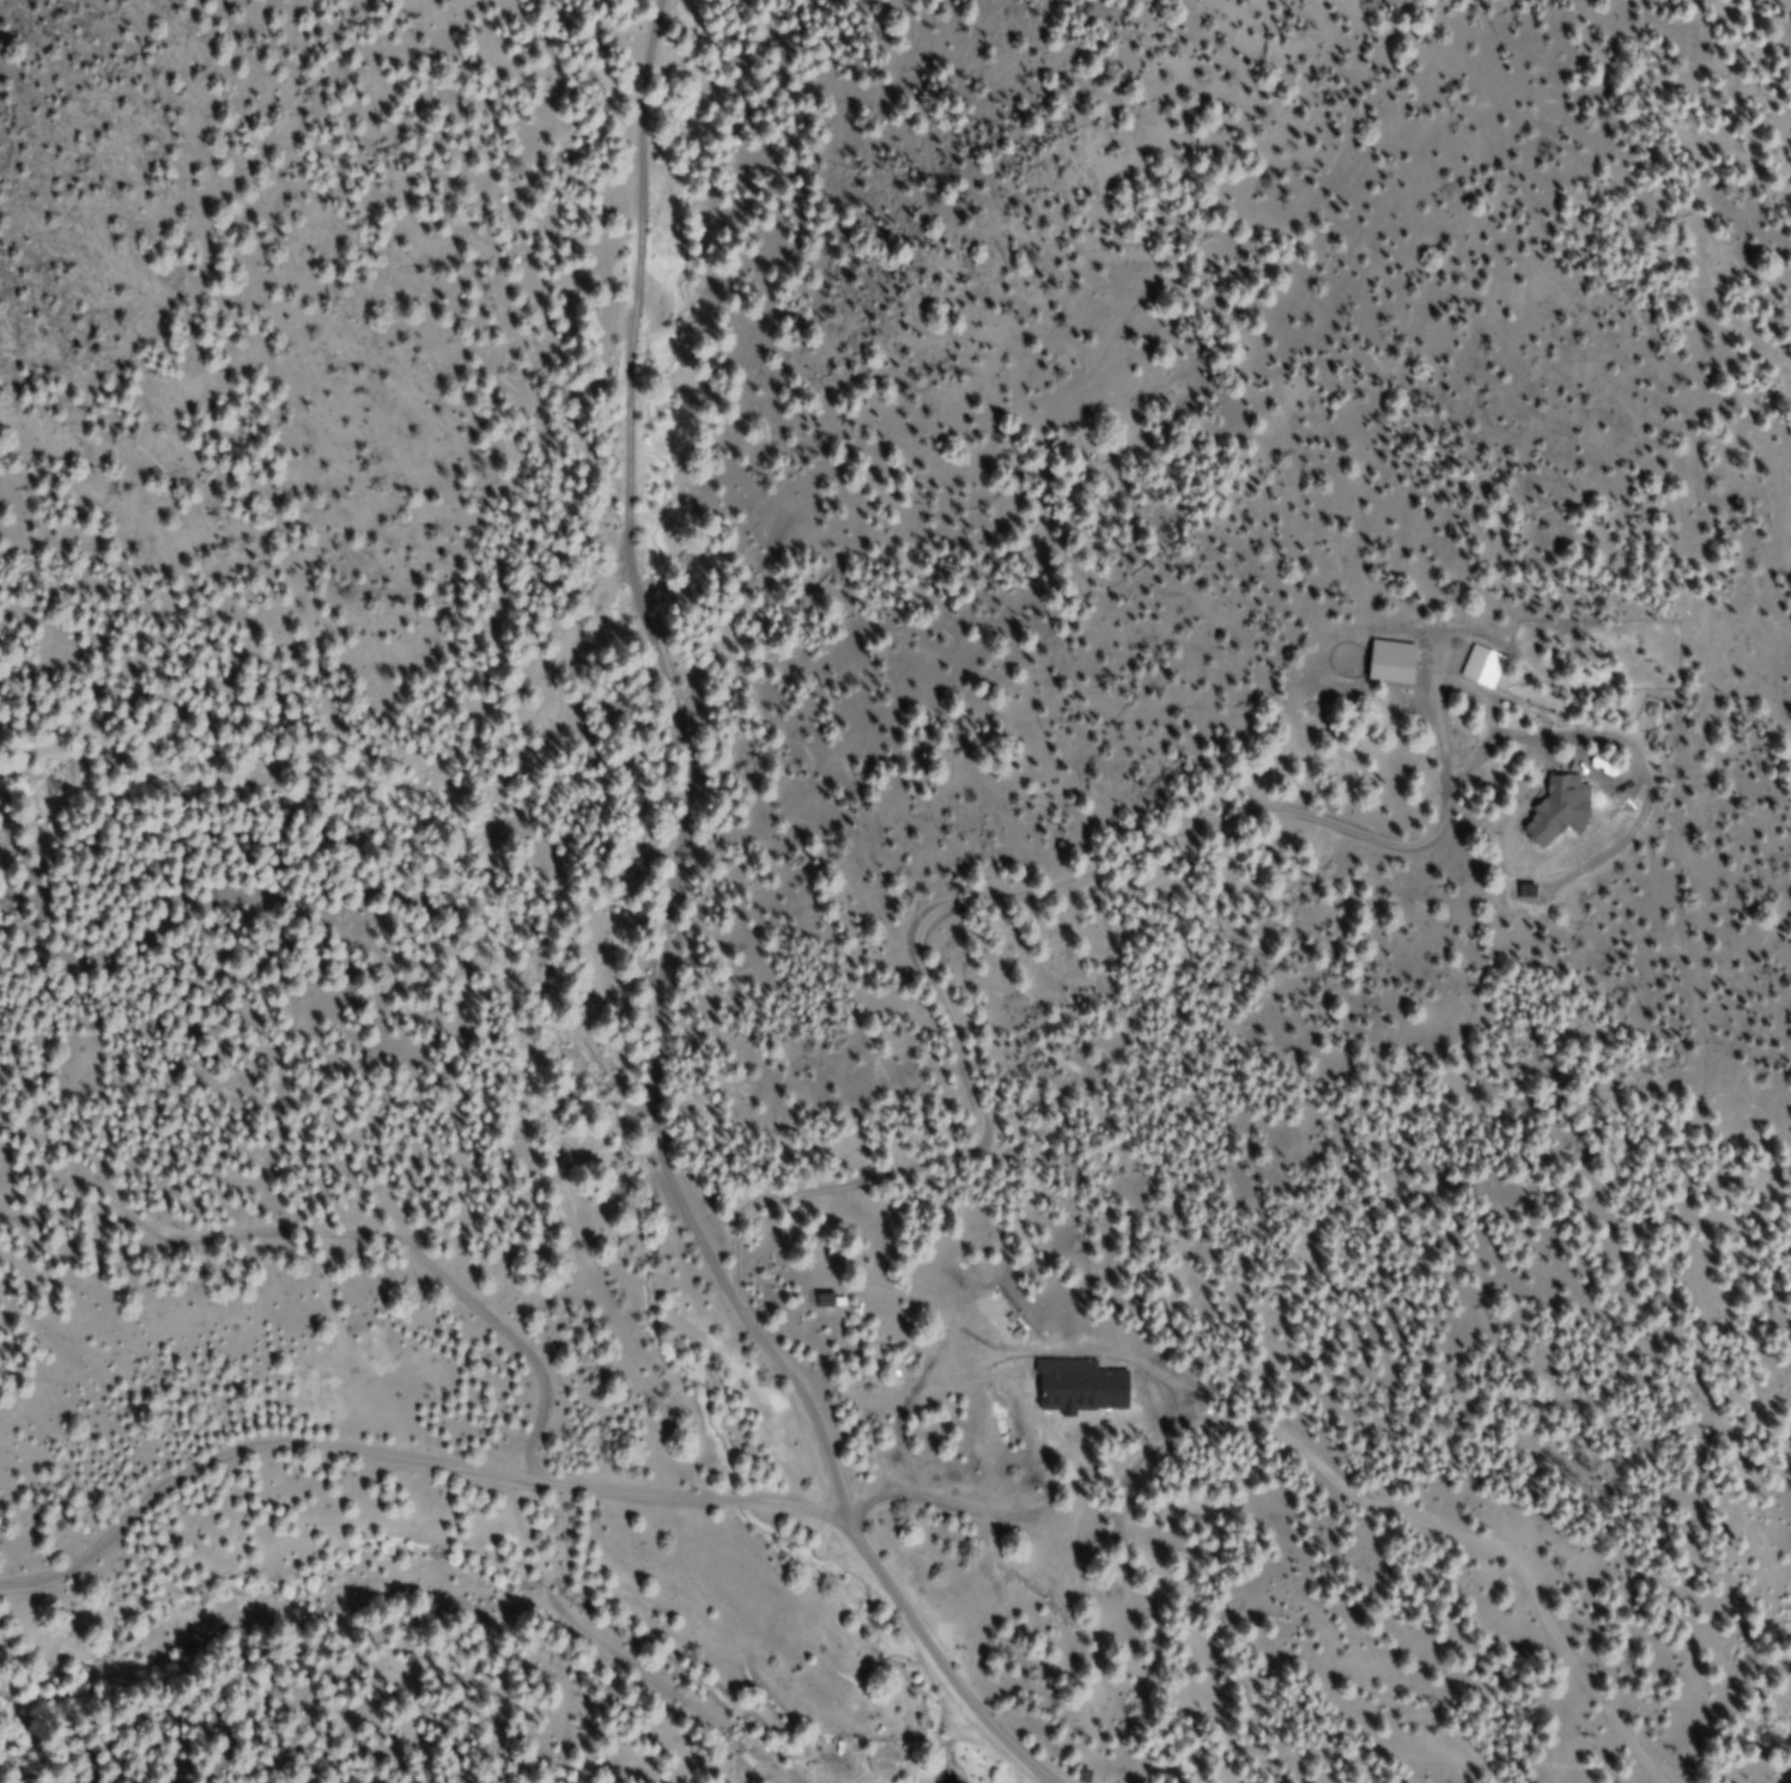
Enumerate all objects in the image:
building: (1579, 716)
road: (686, 743)
building: (826, 1300)
building: (1080, 1386)
road: (577, 1487)

